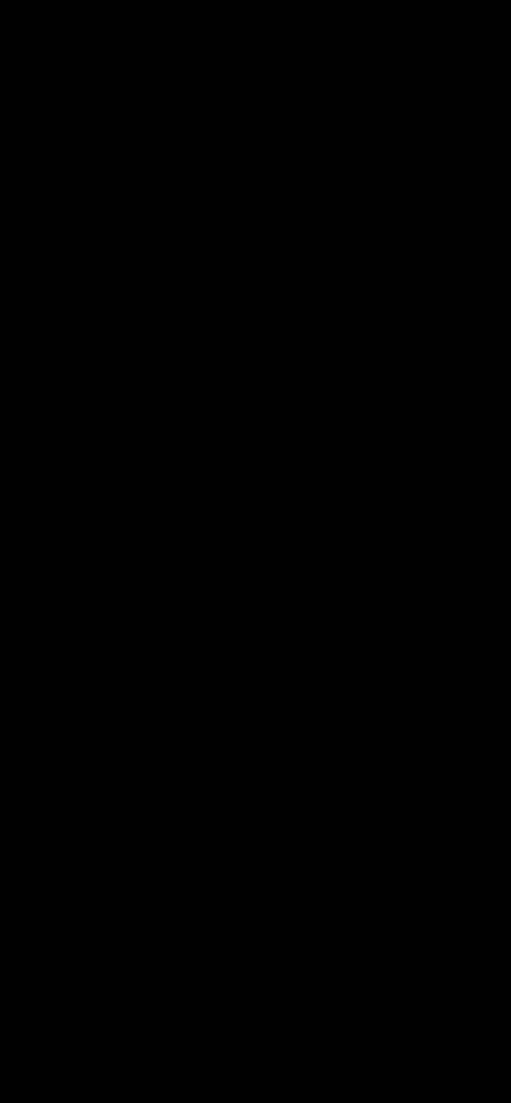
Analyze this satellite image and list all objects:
river: (188, 382)

